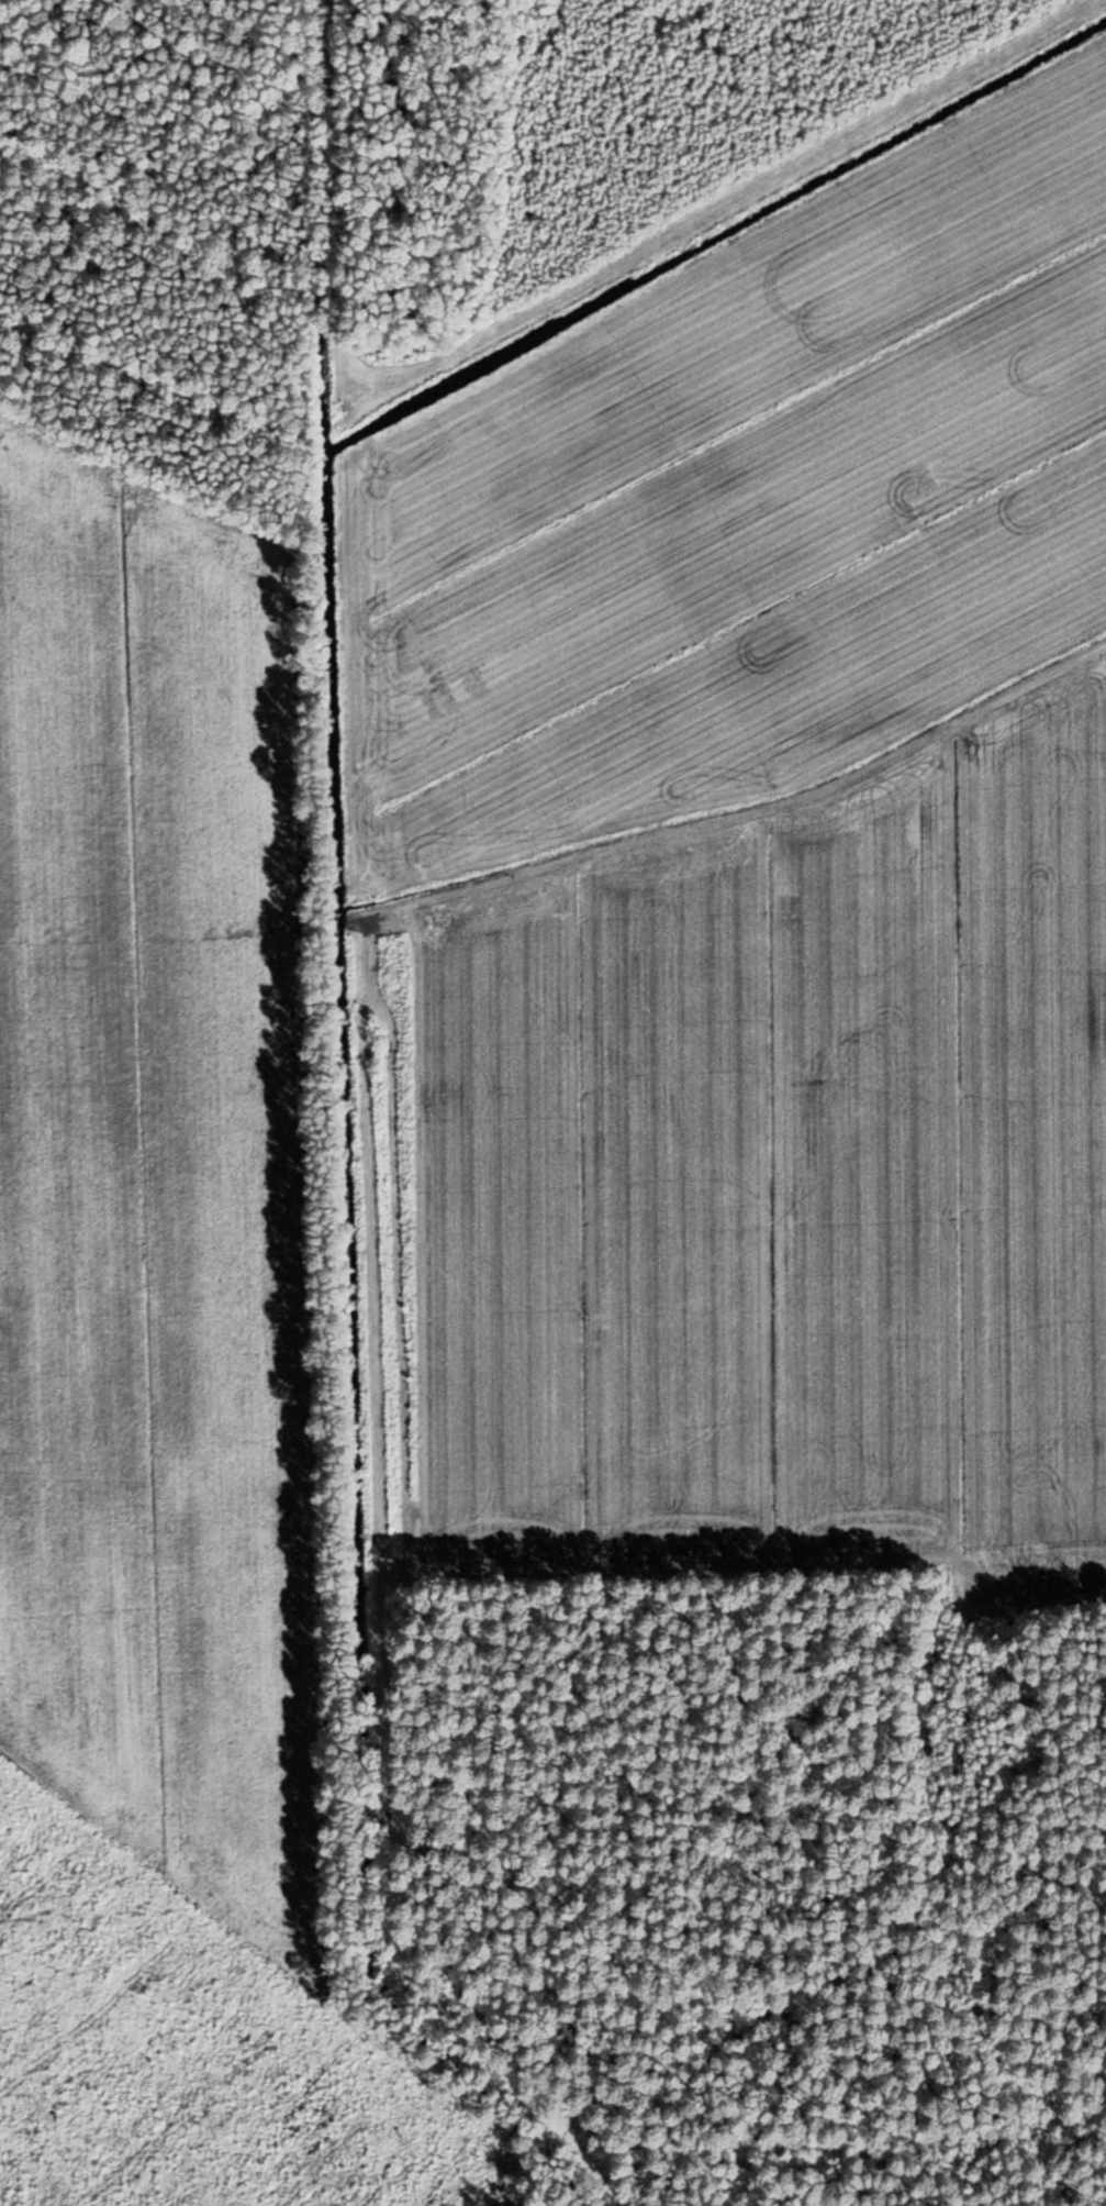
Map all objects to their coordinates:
crop: (755, 884)
road: (369, 1146)
road: (1040, 1588)

